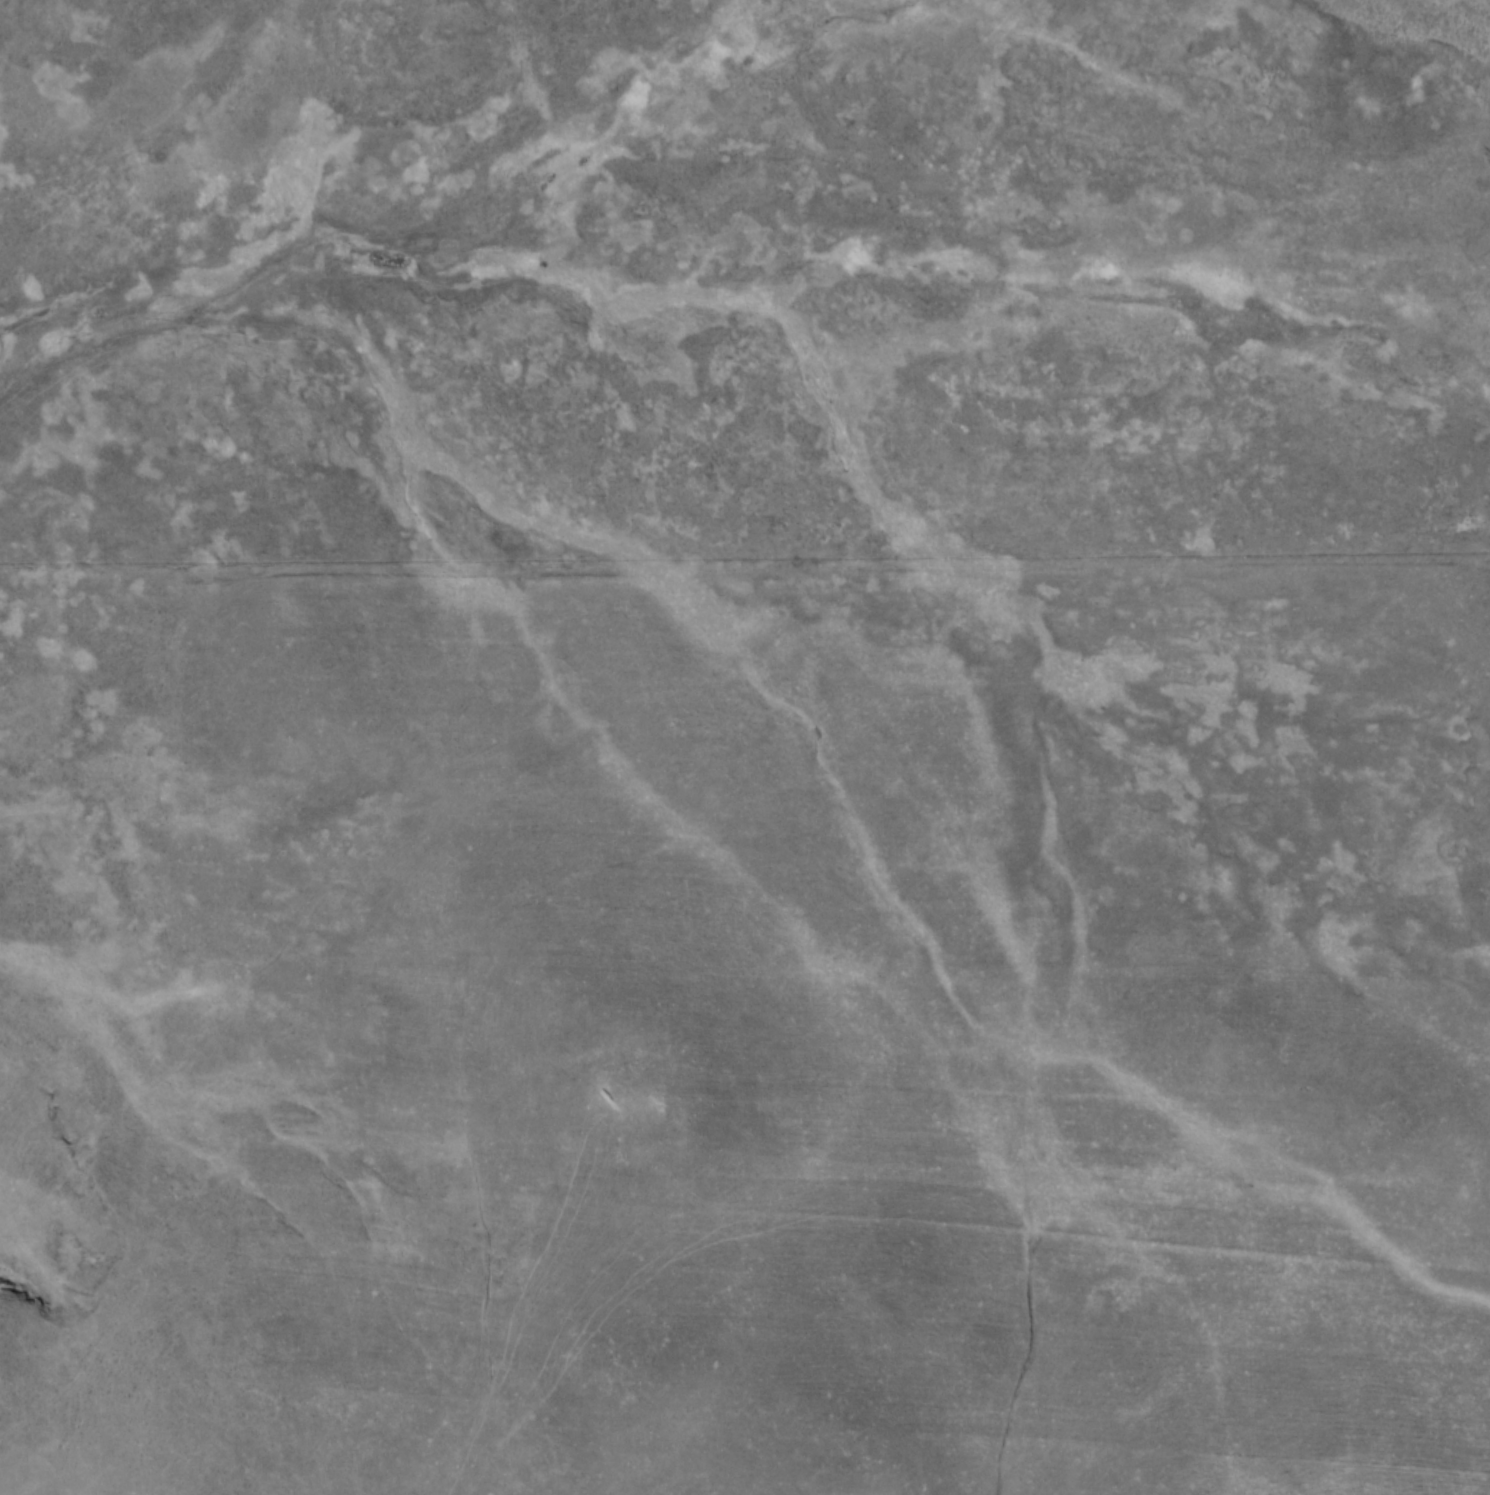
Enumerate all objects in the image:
road: (1258, 1329)

